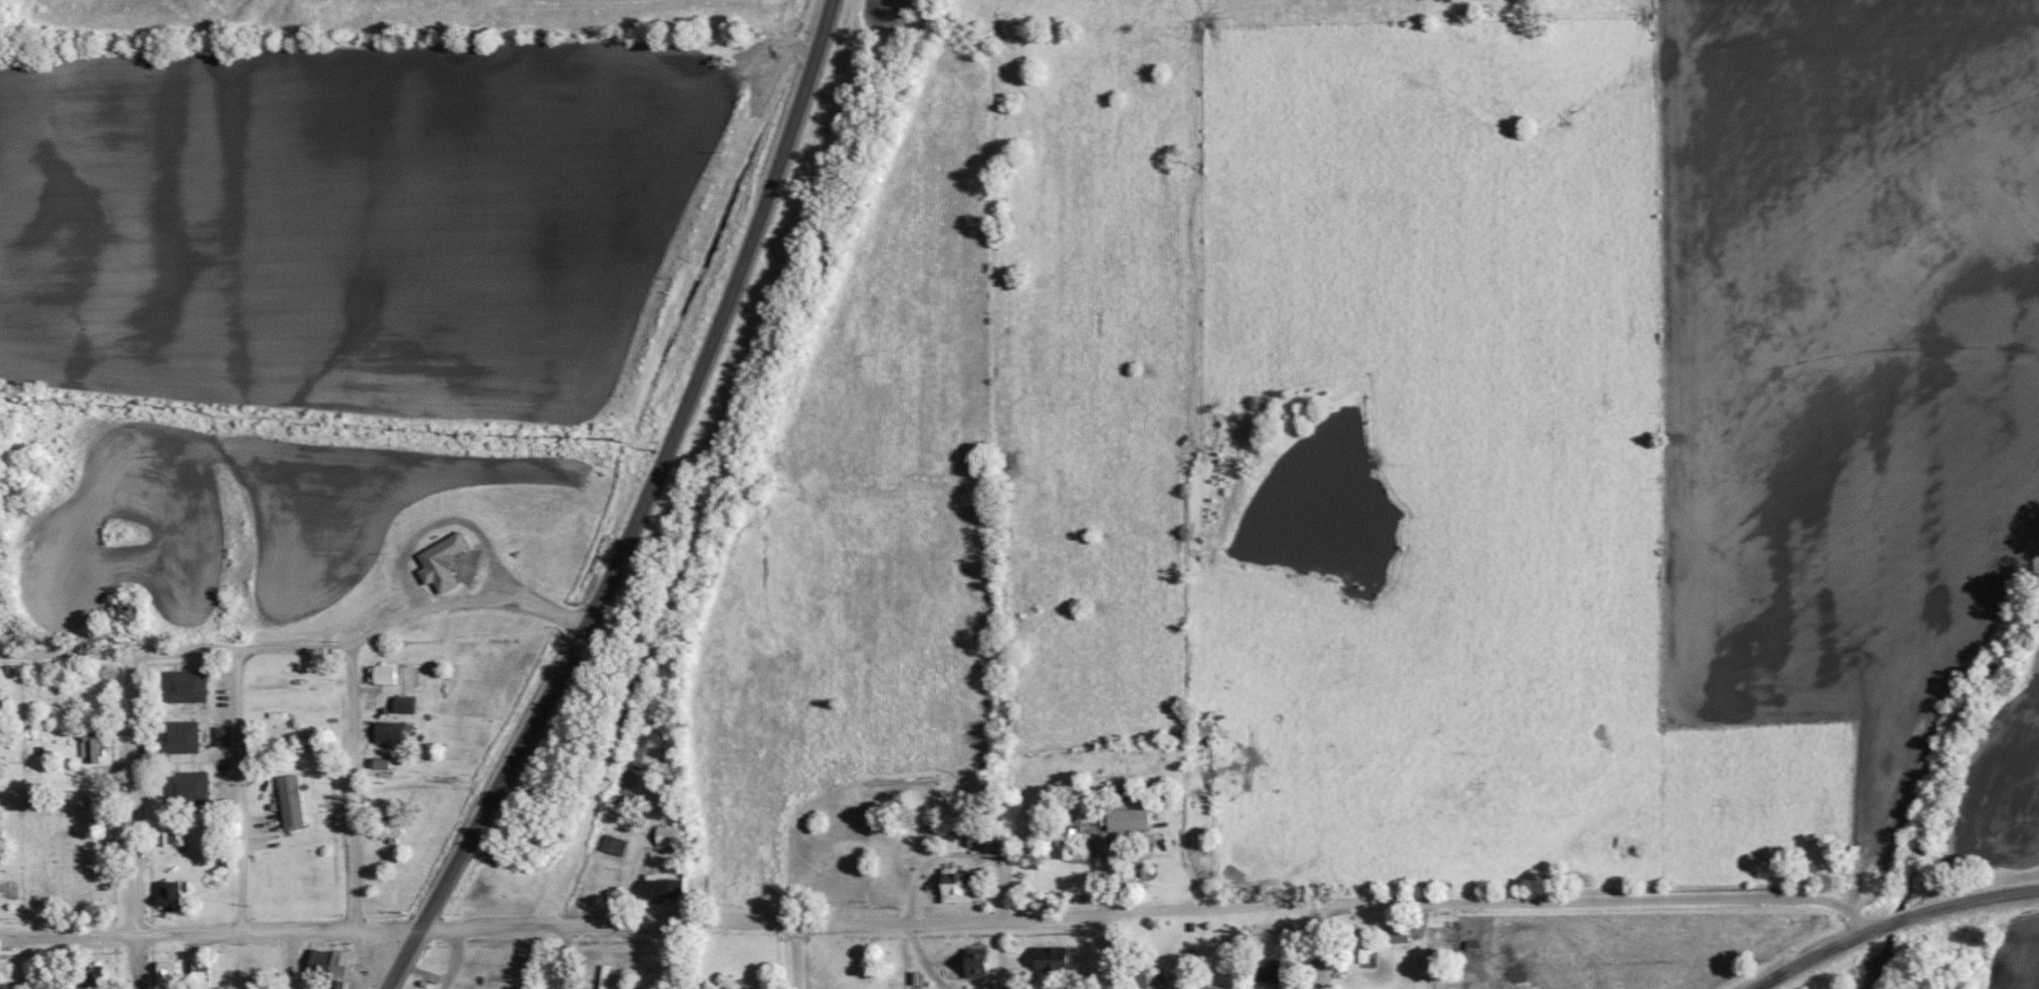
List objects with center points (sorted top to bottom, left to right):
crop: (352, 229)
crop: (1842, 345)
road: (654, 476)
crop: (862, 522)
building: (440, 563)
road: (463, 599)
building: (125, 613)
road: (174, 647)
building: (381, 675)
building: (184, 685)
building: (402, 705)
building: (1203, 732)
building: (387, 733)
building: (178, 736)
building: (220, 736)
building: (90, 748)
building: (186, 785)
road: (352, 786)
road: (239, 787)
road: (133, 790)
building: (290, 802)
building: (667, 836)
building: (976, 836)
building: (171, 837)
building: (611, 845)
building: (1072, 846)
building: (75, 882)
building: (956, 888)
building: (661, 889)
building: (171, 896)
road: (1171, 911)
road: (1891, 921)
road: (230, 929)
building: (1398, 934)
road: (1322, 947)
building: (1360, 949)
road: (1106, 952)
road: (566, 955)
road: (401, 957)
road: (795, 957)
road: (139, 959)
building: (1054, 959)
building: (976, 963)
building: (329, 967)
building: (11, 971)
building: (166, 973)
building: (1274, 973)
building: (199, 974)
building: (90, 977)
building: (1147, 978)
building: (727, 982)
building: (1211, 988)

